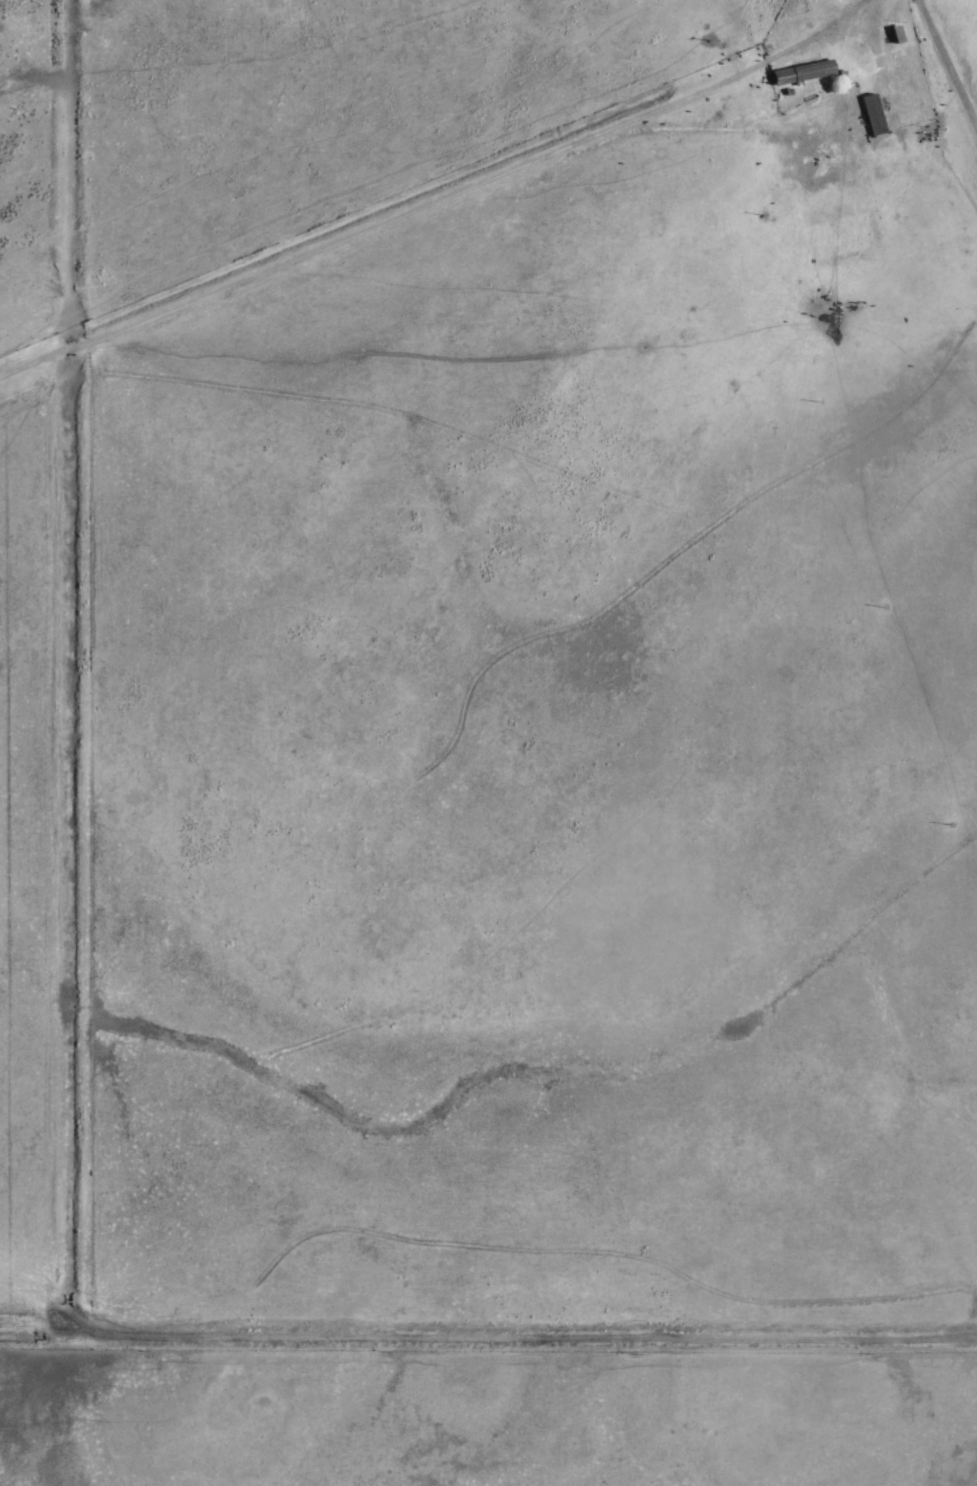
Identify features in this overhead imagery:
road: (944, 67)
building: (868, 113)
road: (426, 180)
crop: (504, 738)
crop: (24, 876)

